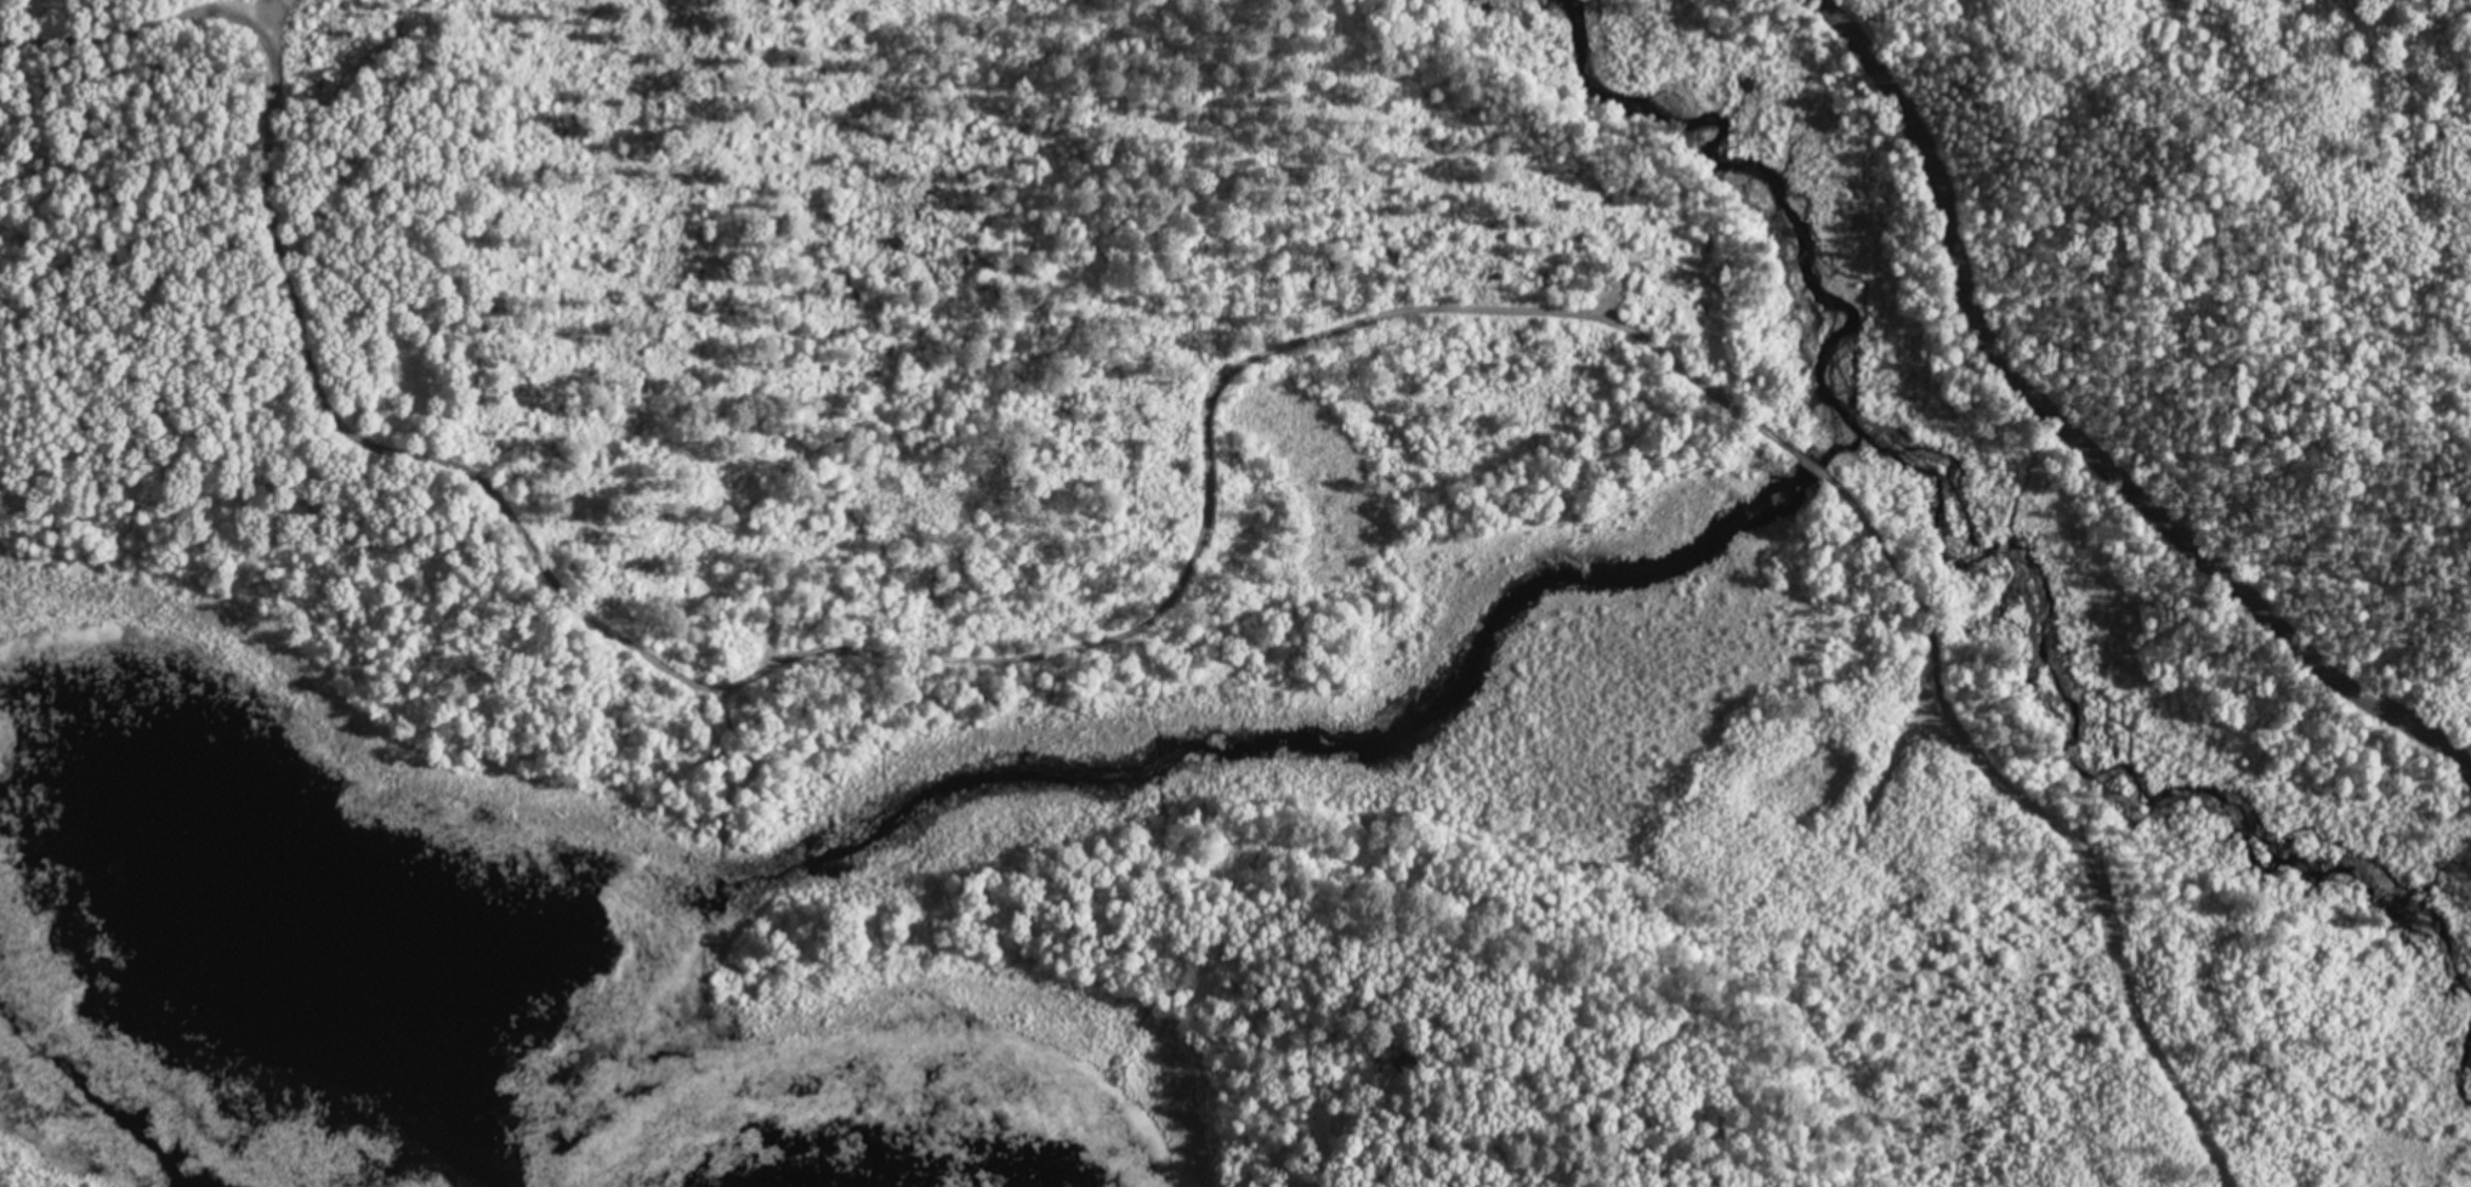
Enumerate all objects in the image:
road: (1228, 368)
road: (2079, 430)

